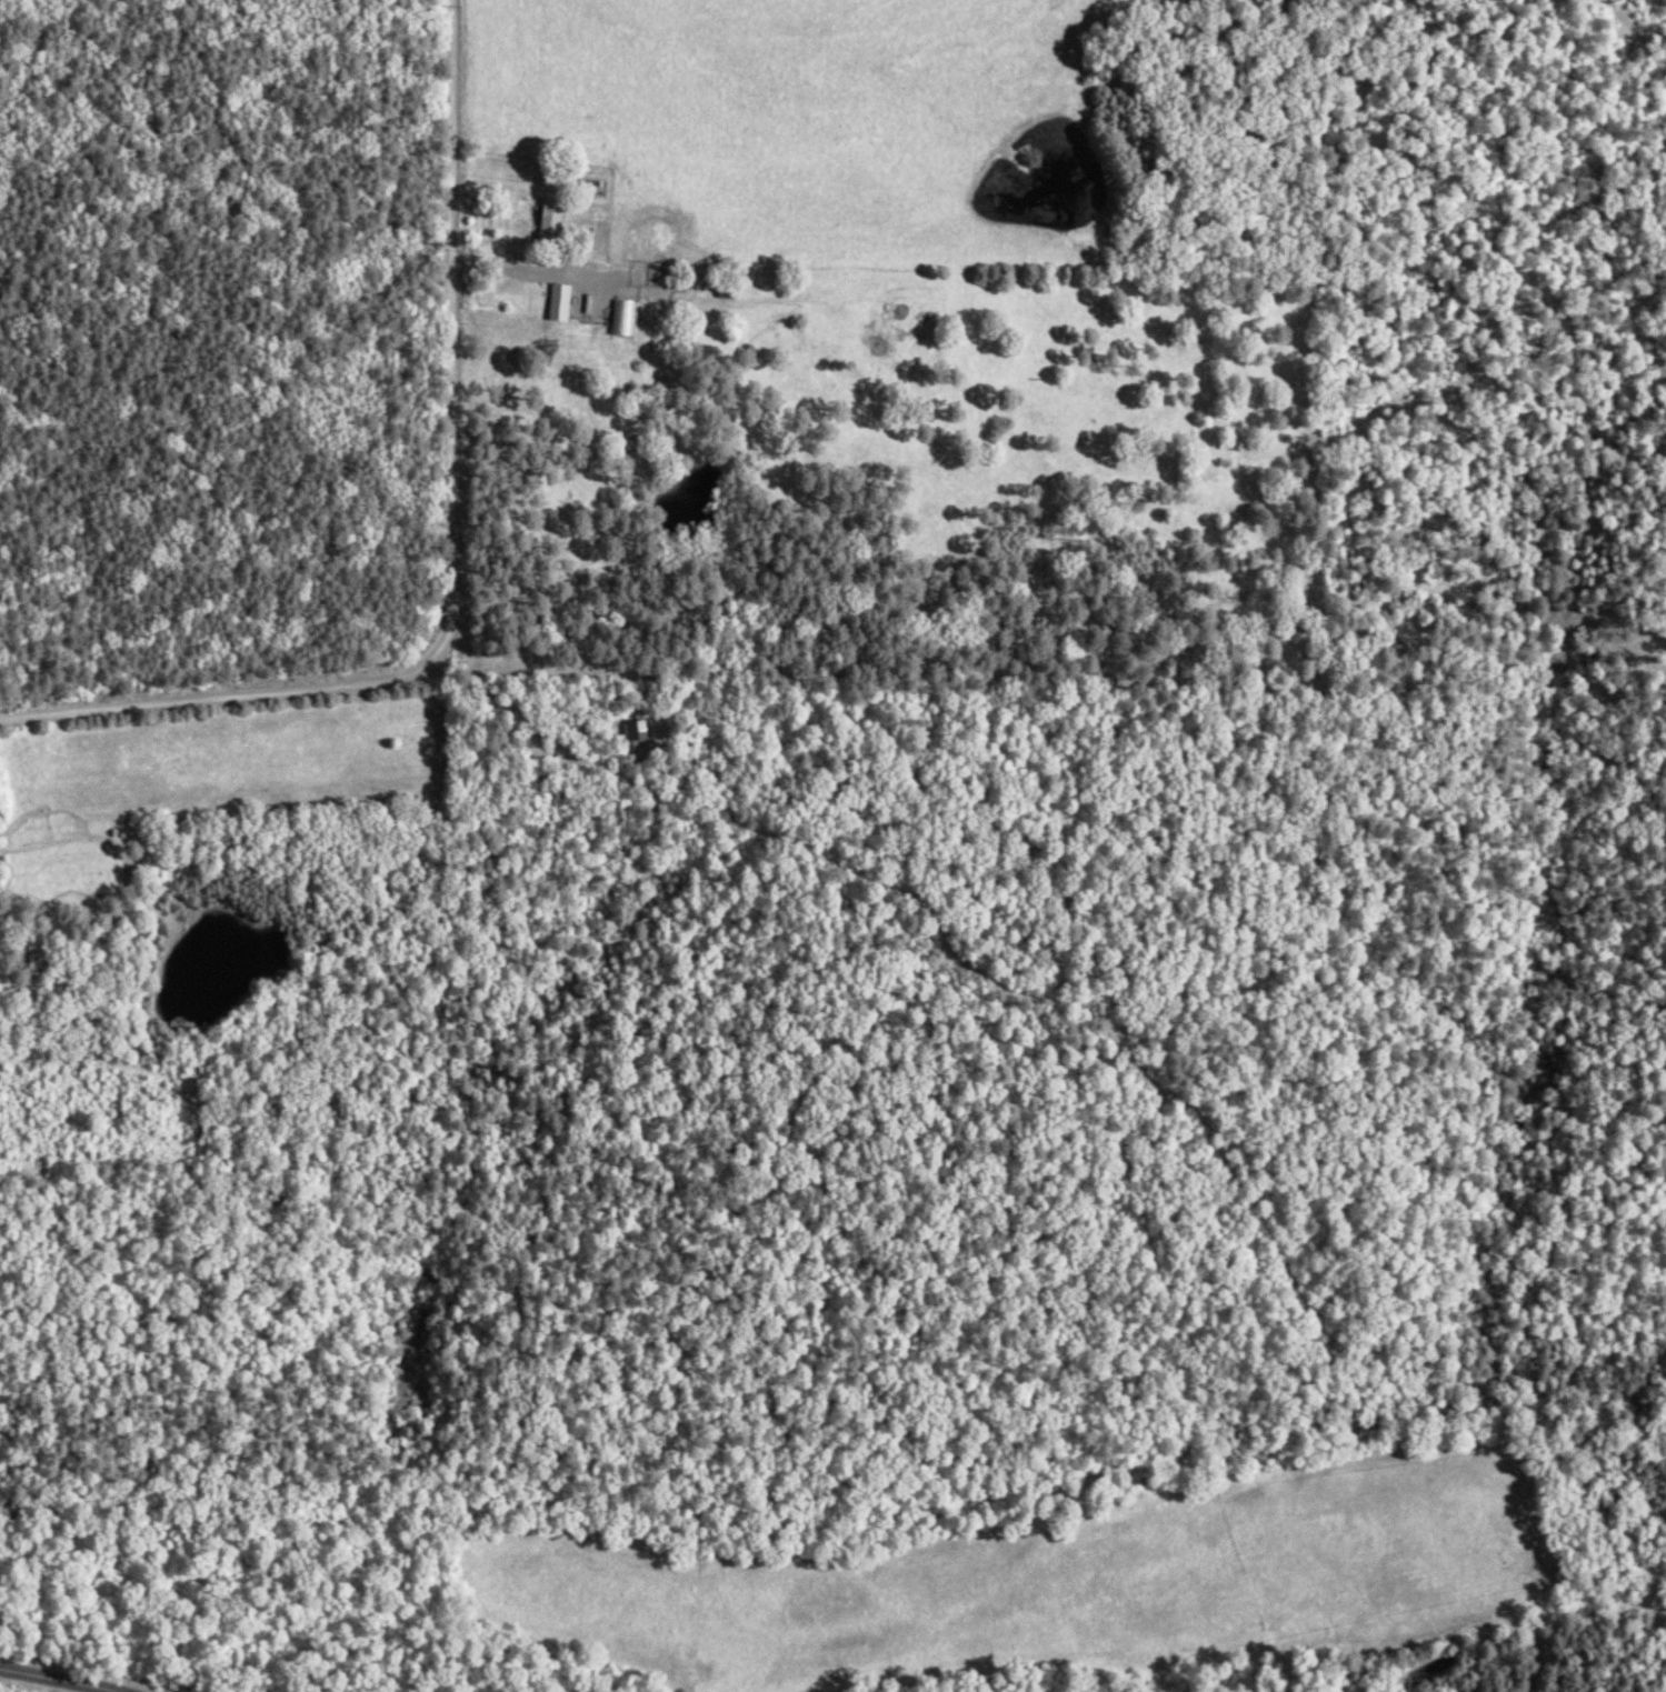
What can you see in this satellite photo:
road: (561, 266)
building: (563, 301)
building: (625, 318)
road: (447, 549)
road: (48, 1678)

